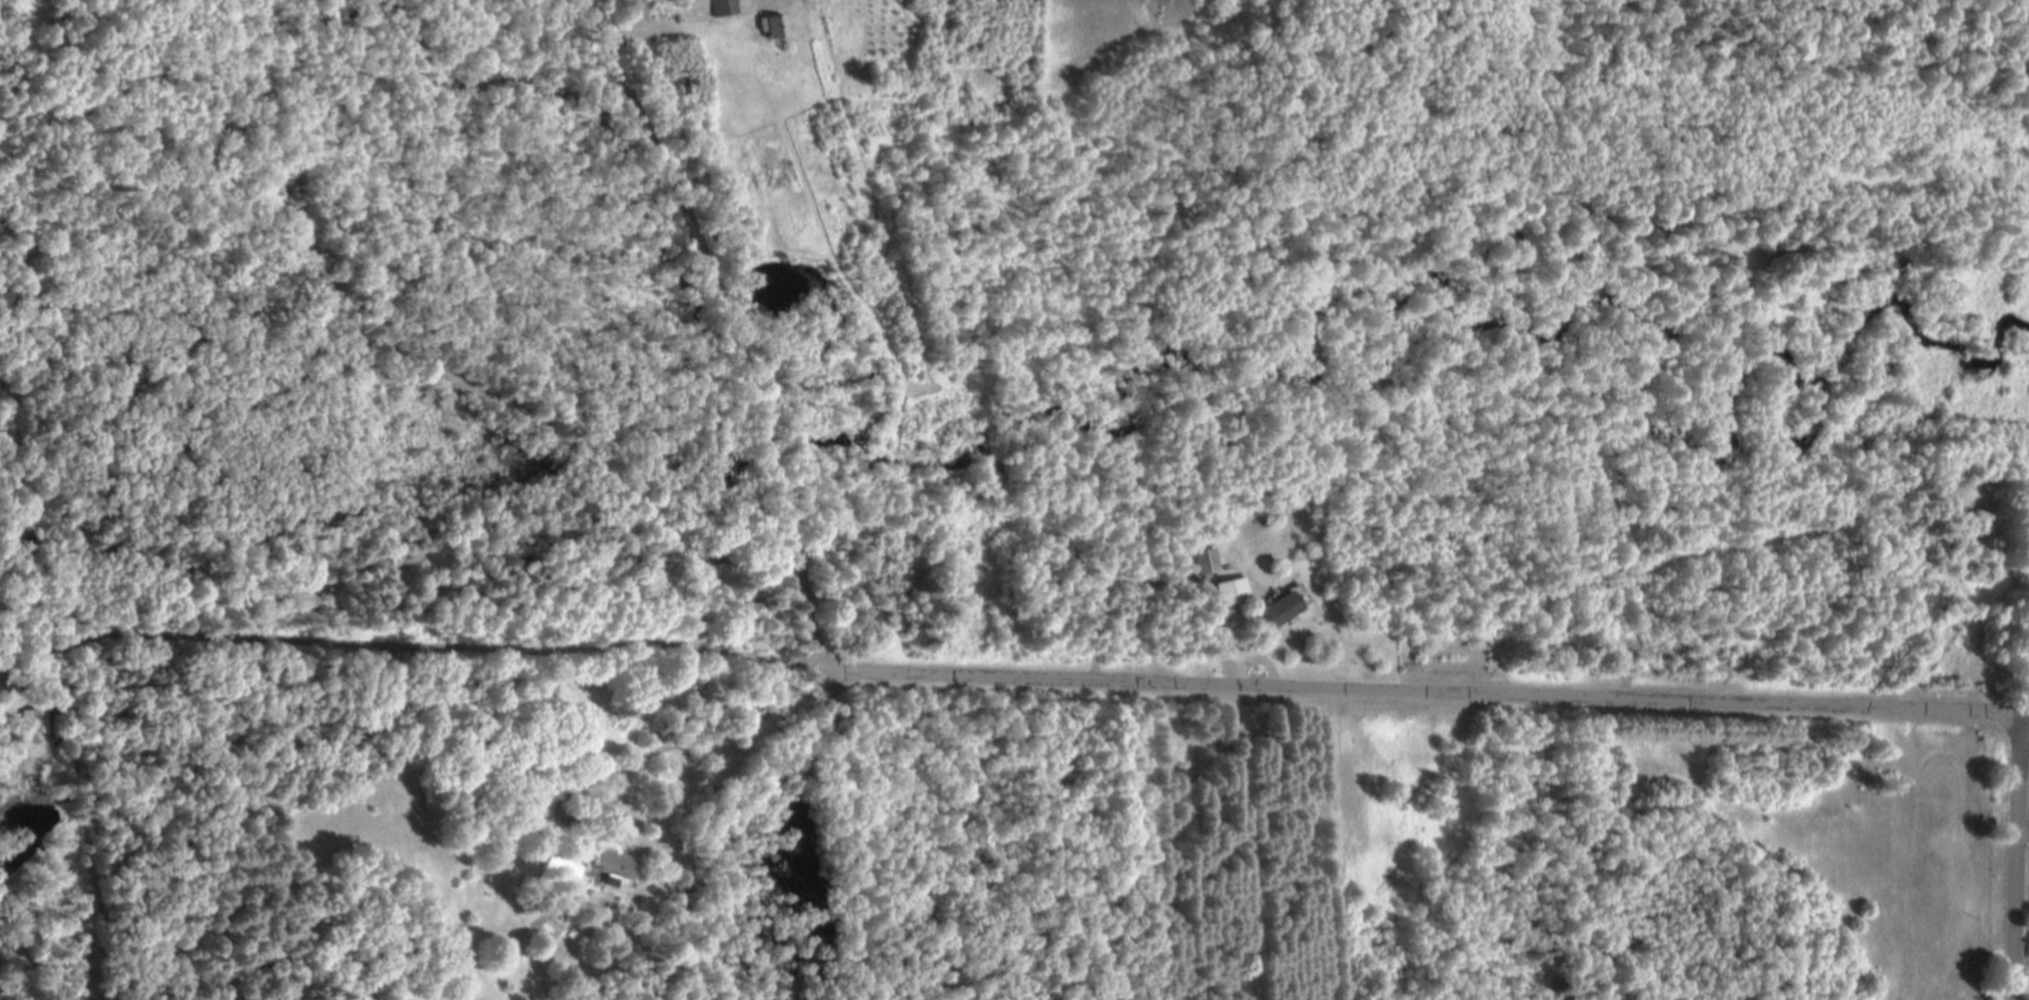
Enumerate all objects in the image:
building: (725, 8)
building: (772, 26)
road: (725, 325)
building: (1207, 562)
building: (1231, 591)
building: (1281, 609)
road: (580, 651)
road: (1422, 690)
road: (2023, 712)
building: (36, 720)
road: (2015, 855)
building: (563, 865)
building: (615, 865)
road: (2021, 961)

